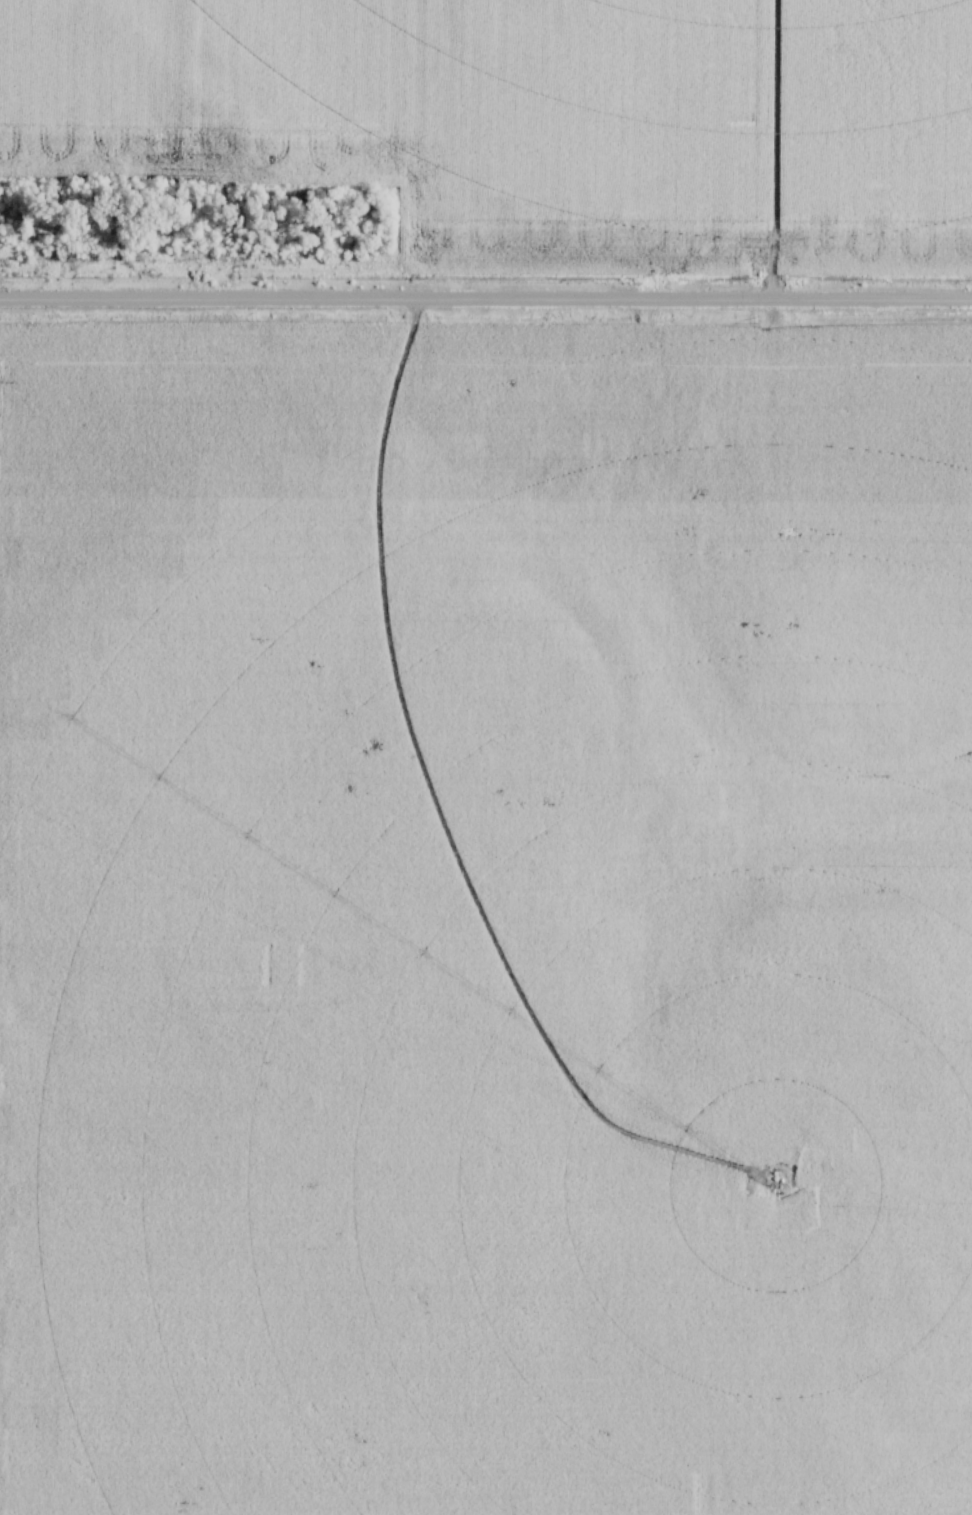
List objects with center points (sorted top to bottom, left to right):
crop: (531, 119)
road: (777, 149)
road: (485, 298)

